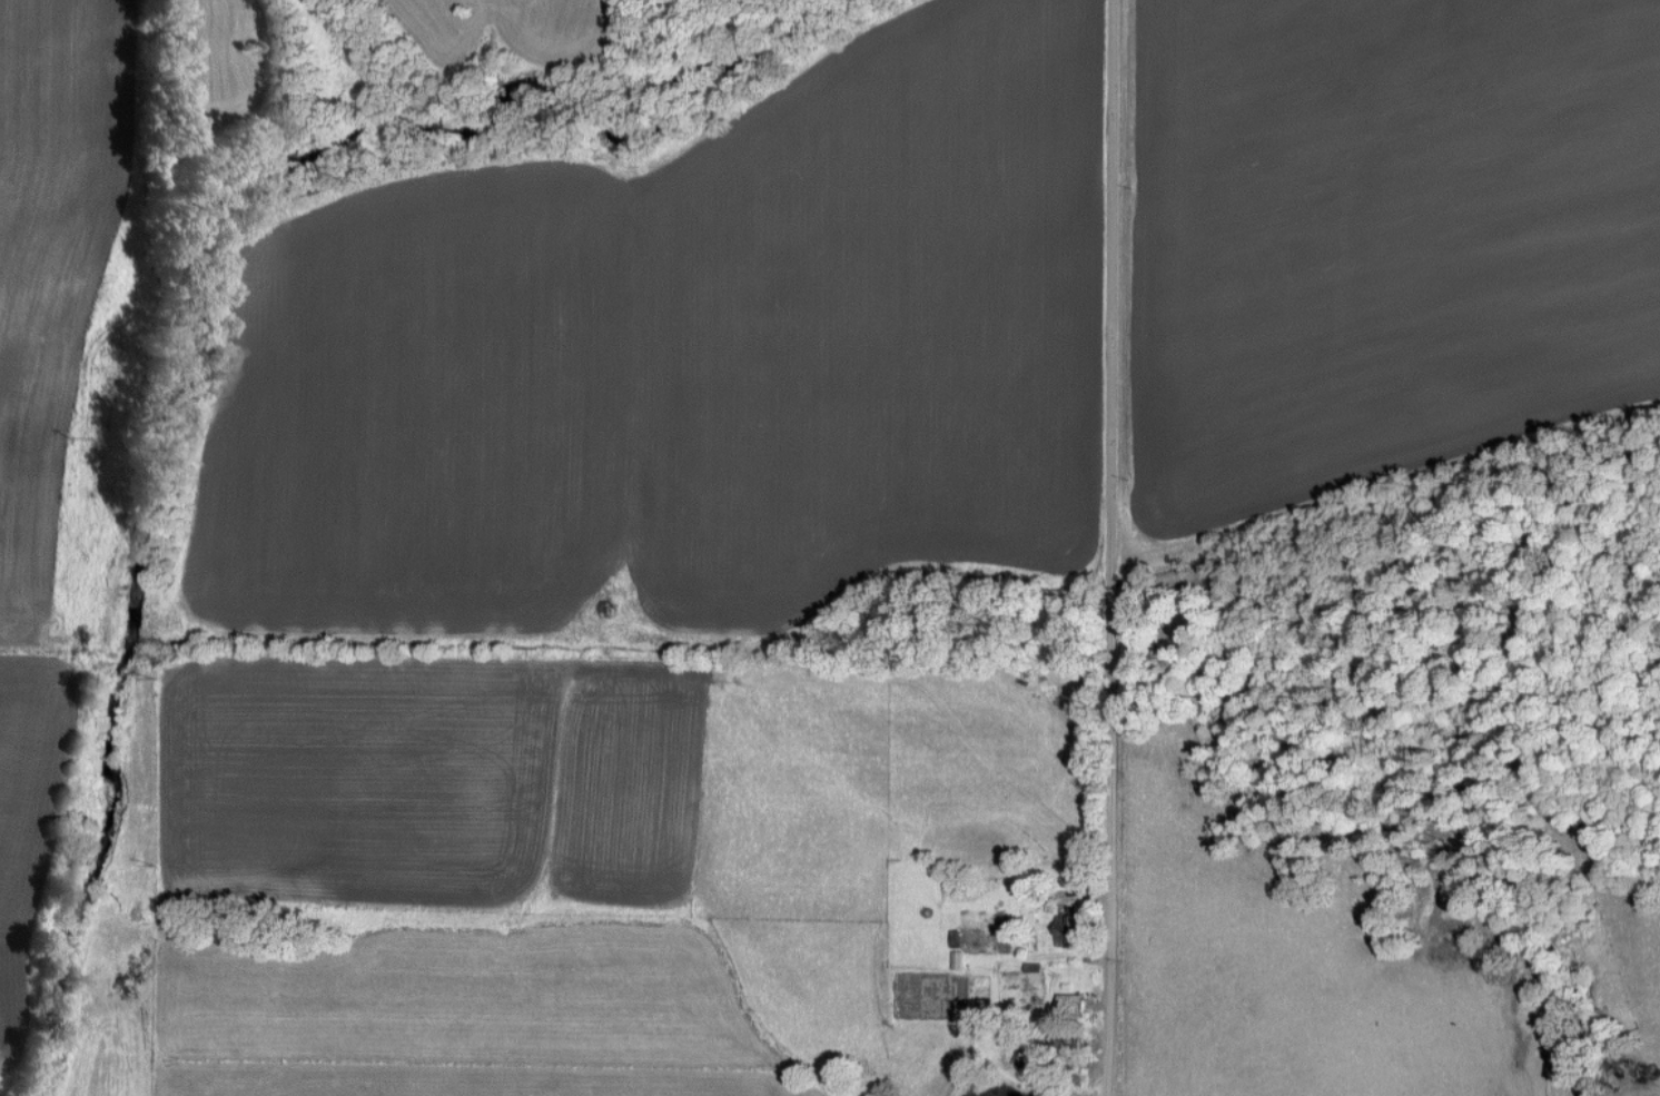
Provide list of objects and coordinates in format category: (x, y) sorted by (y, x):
road: (1120, 547)

